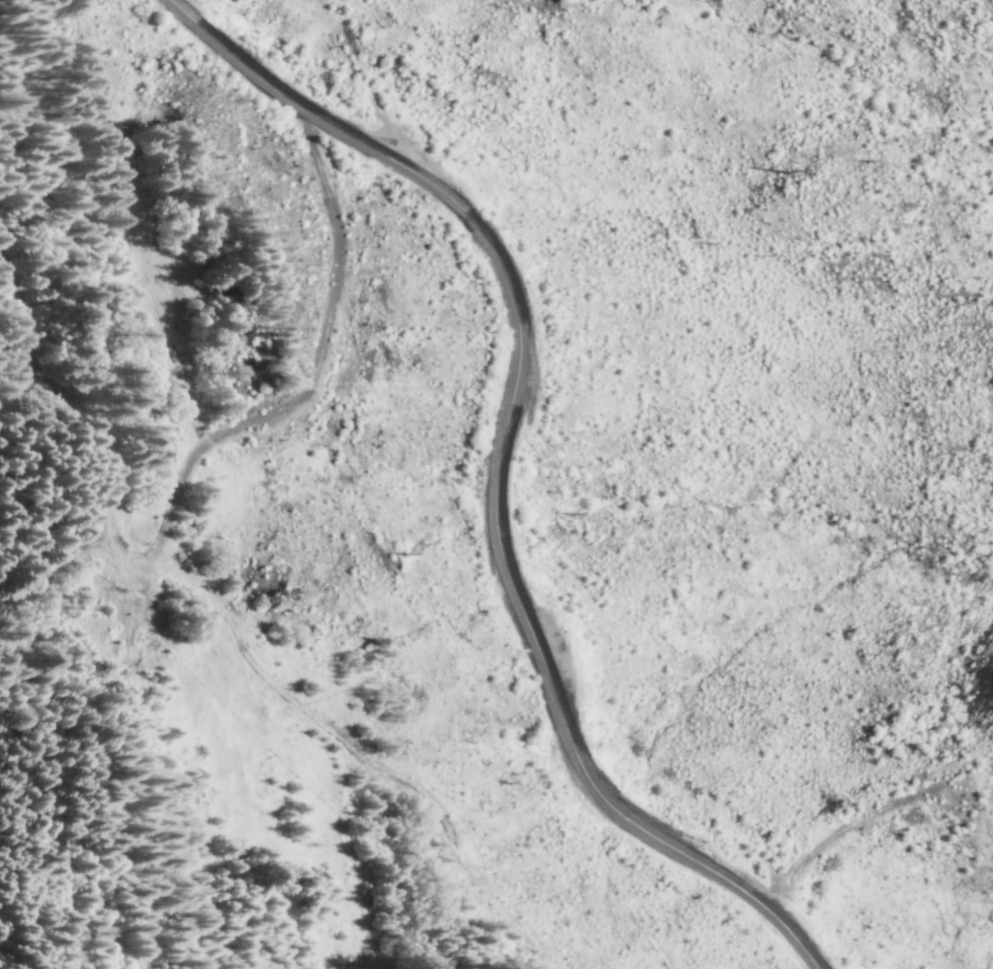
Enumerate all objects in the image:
road: (499, 464)

